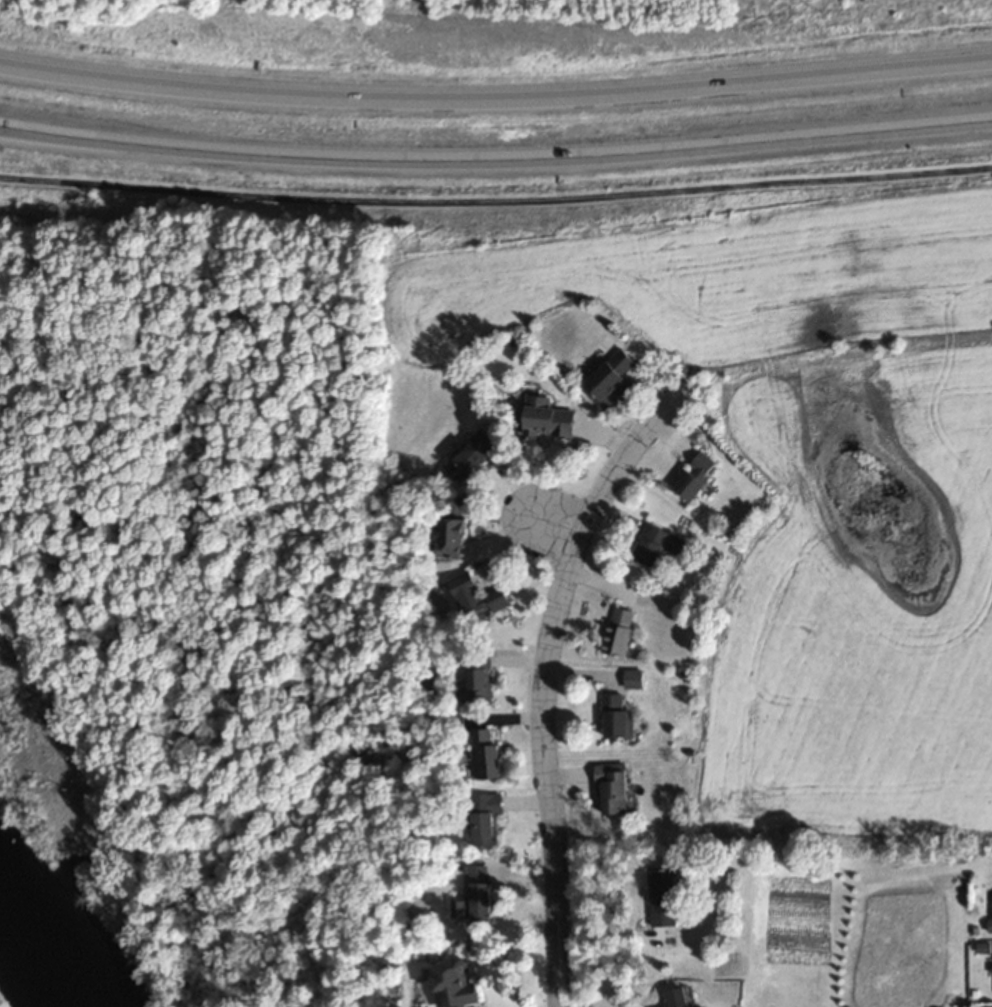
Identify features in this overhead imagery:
road: (496, 96)
road: (496, 160)
road: (496, 199)
building: (612, 377)
building: (549, 415)
building: (473, 452)
building: (697, 476)
crop: (798, 481)
road: (554, 523)
building: (453, 536)
building: (657, 542)
building: (479, 595)
building: (619, 630)
building: (484, 675)
road: (543, 679)
building: (617, 716)
building: (488, 754)
building: (616, 786)
building: (487, 817)
building: (484, 892)
building: (664, 896)
building: (465, 908)
river: (34, 936)
building: (461, 983)
building: (678, 997)
park: (0, 1006)

